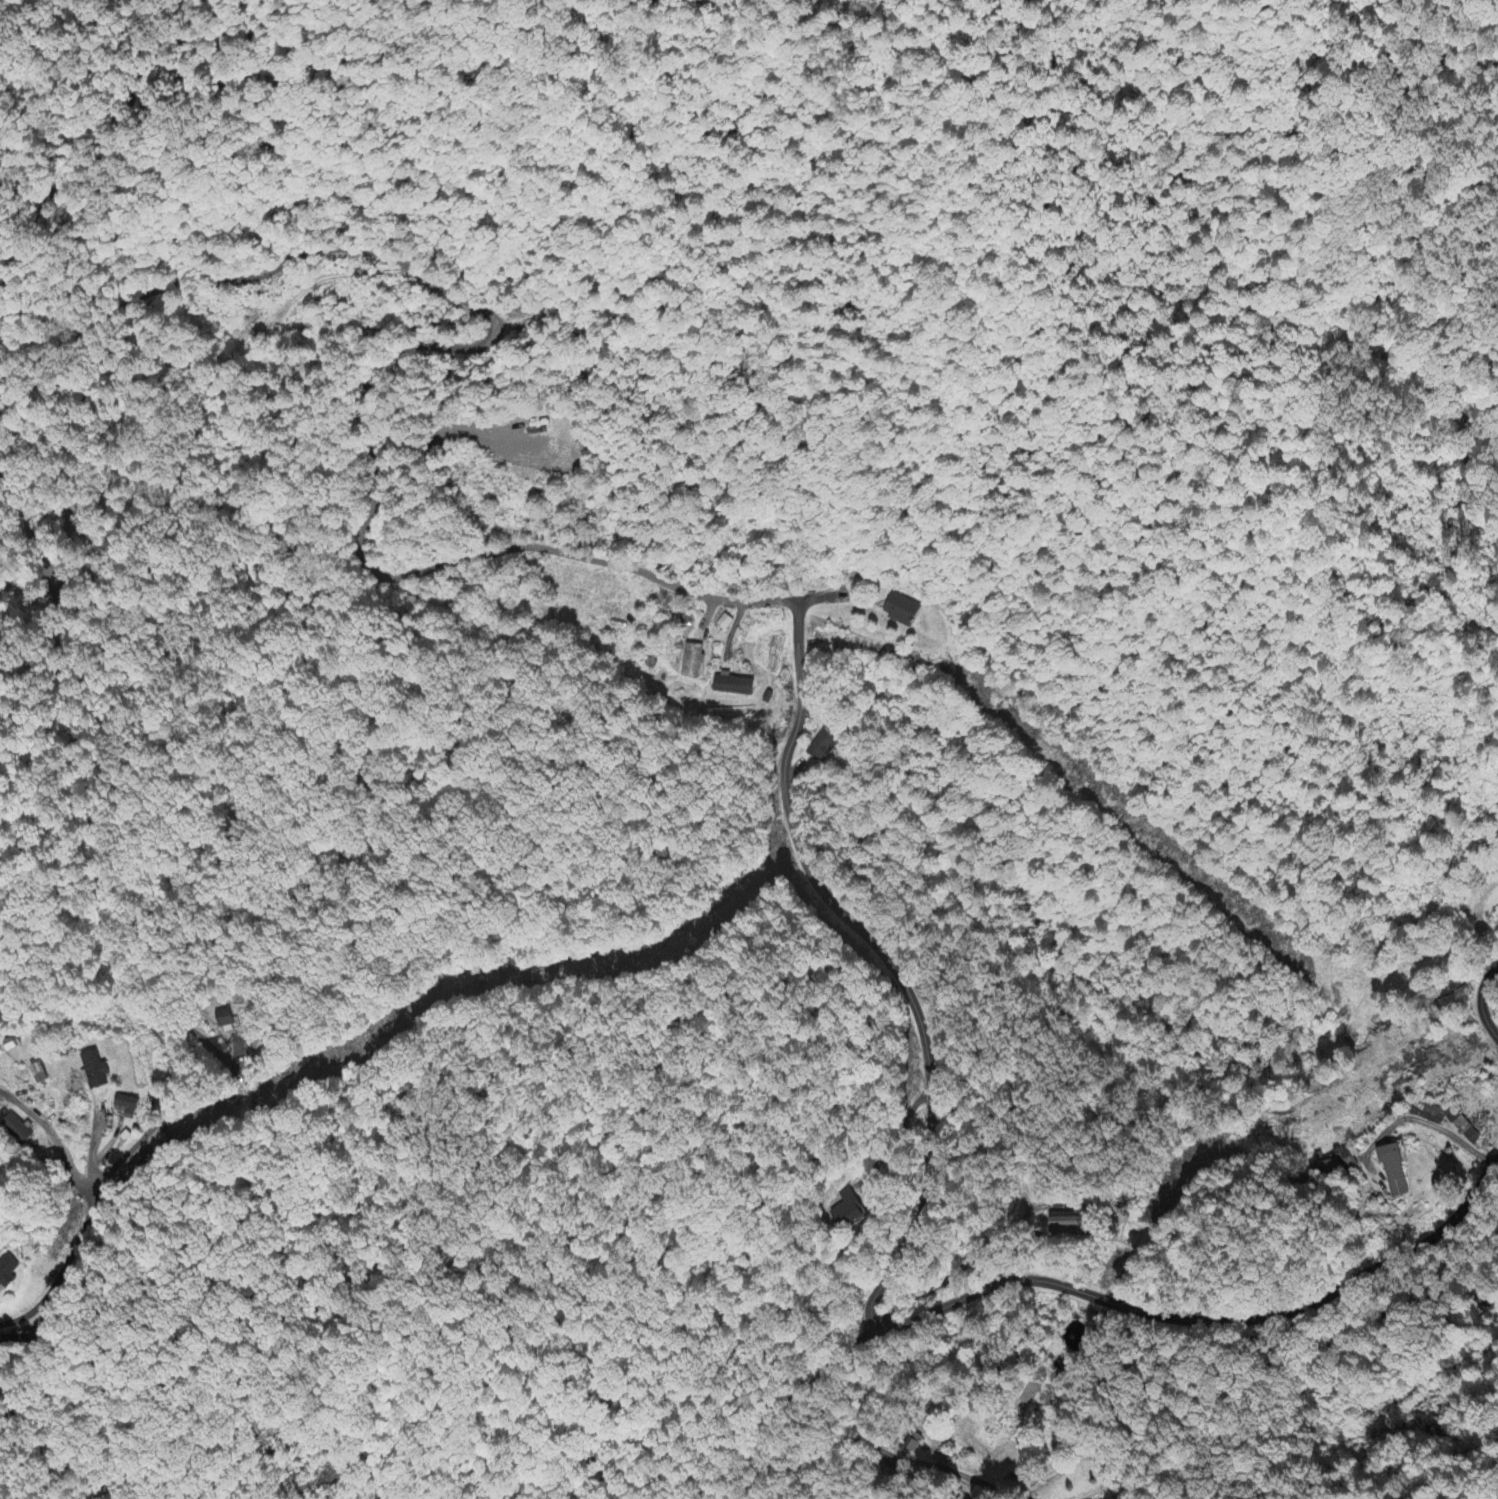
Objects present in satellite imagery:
road: (156, 292)
building: (900, 609)
building: (724, 622)
building: (691, 660)
building: (732, 685)
building: (822, 746)
road: (1480, 998)
building: (222, 1018)
building: (94, 1068)
building: (125, 1105)
building: (15, 1128)
building: (1349, 1157)
building: (1326, 1165)
building: (1392, 1169)
building: (846, 1208)
building: (6, 1271)
road: (882, 1283)
road: (758, 1436)

